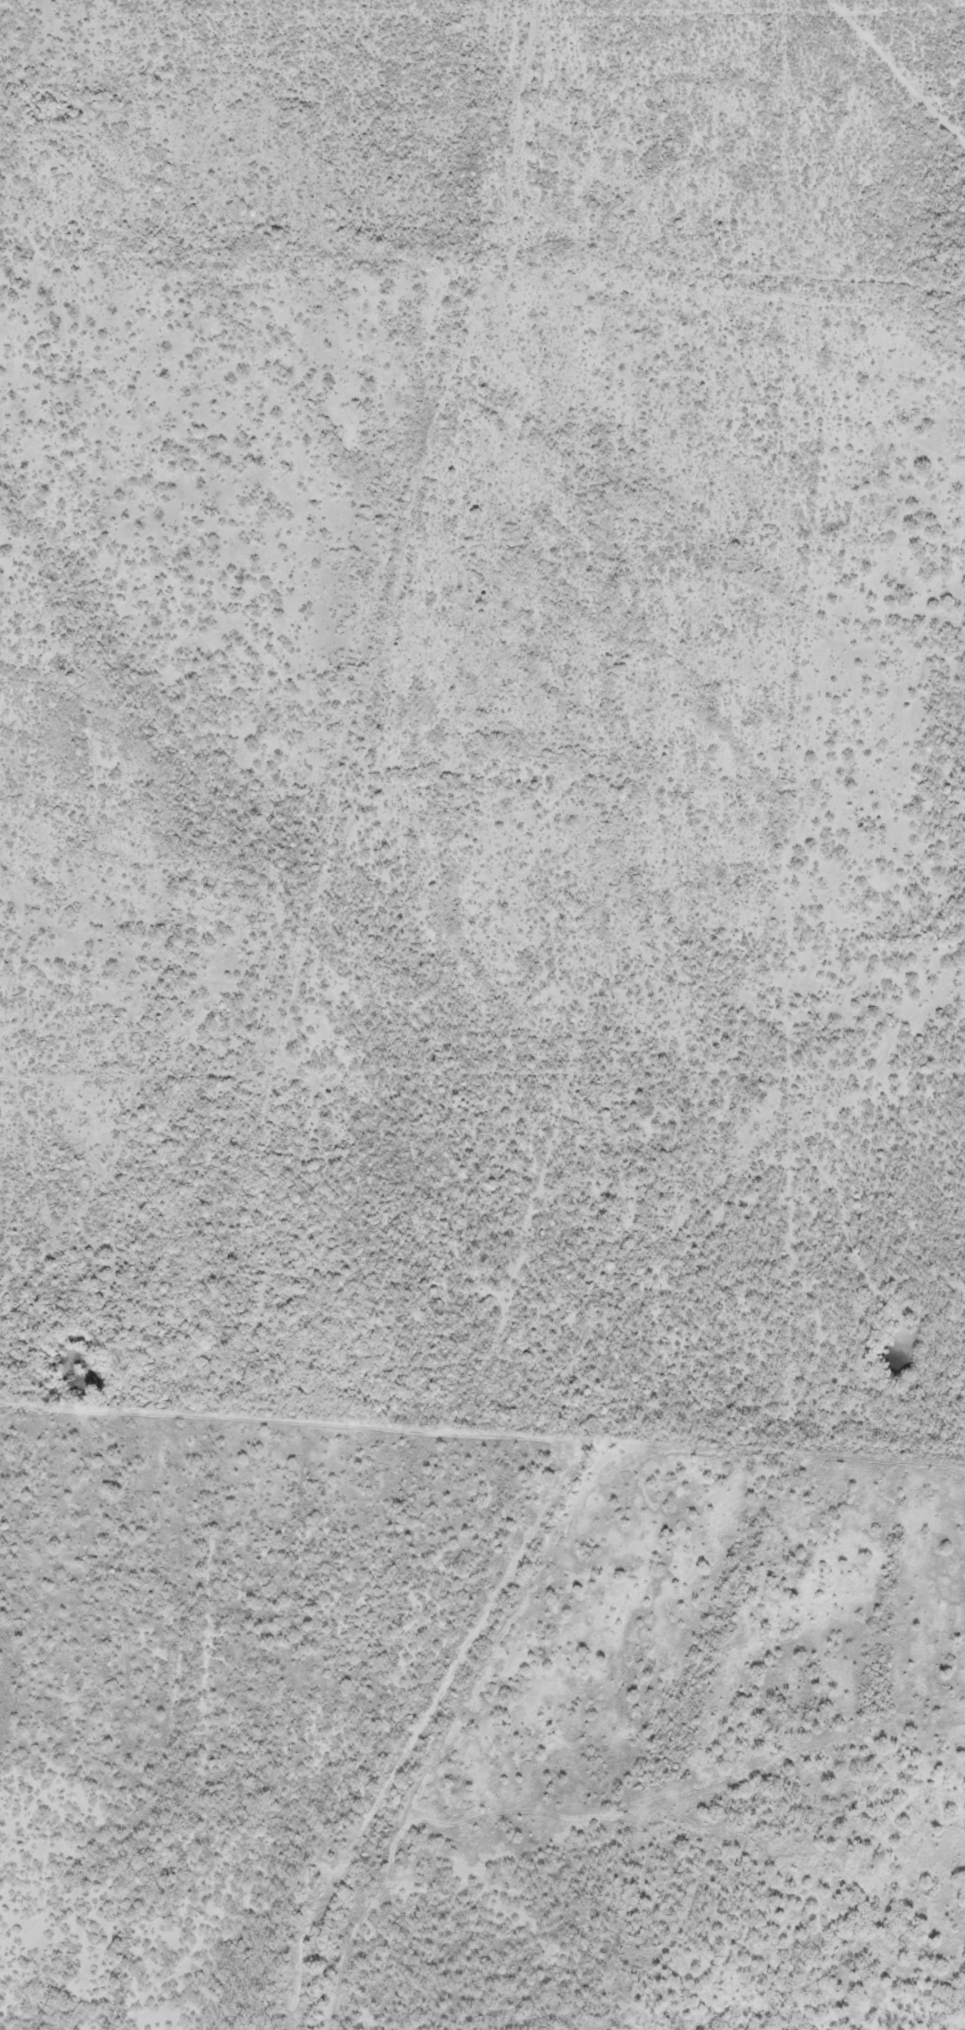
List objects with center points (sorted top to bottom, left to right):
road: (892, 78)

